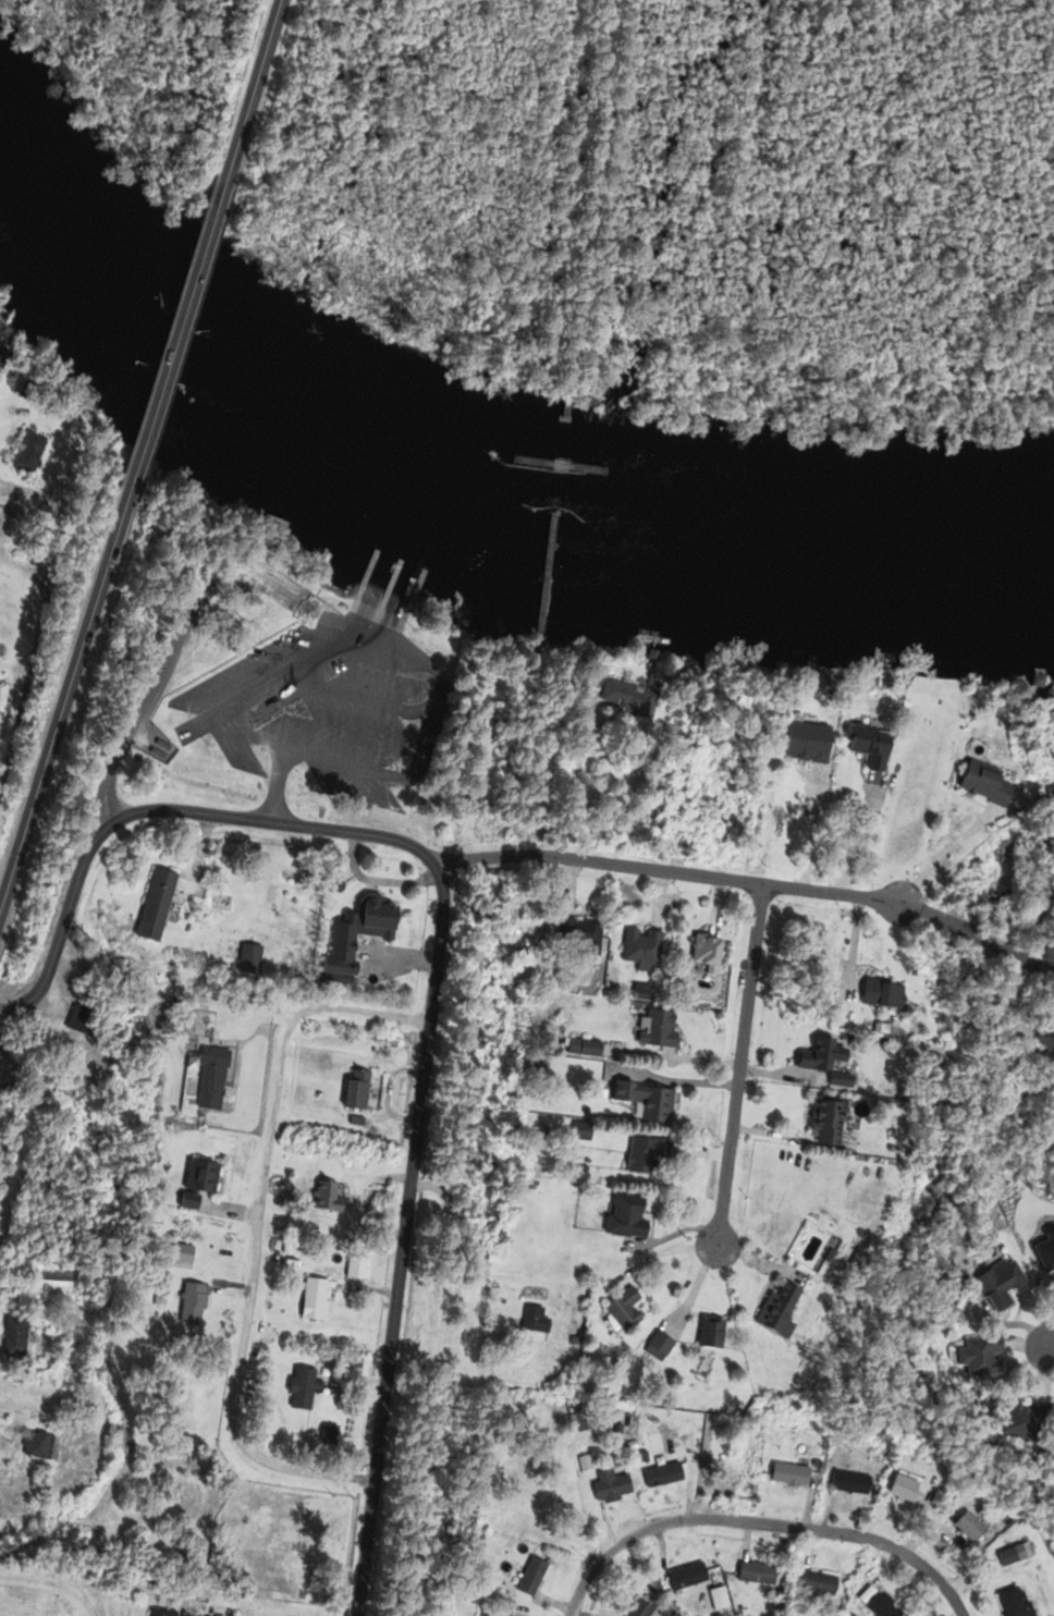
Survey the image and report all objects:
road: (249, 90)
road: (197, 262)
road: (148, 421)
building: (24, 451)
river: (465, 498)
river: (1049, 562)
road: (26, 673)
building: (1, 690)
building: (626, 699)
road: (62, 701)
building: (805, 742)
building: (865, 746)
building: (981, 781)
road: (161, 809)
road: (809, 833)
road: (860, 838)
road: (751, 883)
building: (151, 906)
building: (577, 934)
building: (353, 936)
building: (639, 947)
building: (702, 953)
building: (246, 959)
building: (880, 995)
building: (657, 1029)
building: (1044, 1045)
building: (583, 1048)
building: (821, 1056)
road: (738, 1065)
building: (208, 1079)
building: (353, 1090)
building: (644, 1101)
building: (822, 1121)
building: (644, 1154)
building: (198, 1178)
building: (326, 1196)
building: (624, 1216)
road: (256, 1226)
road: (673, 1235)
road: (401, 1244)
road: (662, 1257)
road: (750, 1260)
building: (353, 1268)
building: (48, 1282)
building: (995, 1283)
road: (693, 1291)
building: (310, 1299)
building: (194, 1301)
building: (622, 1310)
building: (774, 1311)
building: (532, 1320)
building: (708, 1334)
building: (12, 1338)
road: (1050, 1343)
building: (657, 1345)
building: (977, 1357)
building: (299, 1388)
building: (1020, 1419)
building: (35, 1445)
building: (587, 1457)
building: (663, 1474)
building: (785, 1476)
building: (610, 1486)
building: (900, 1489)
road: (760, 1523)
building: (965, 1528)
building: (1009, 1555)
building: (753, 1574)
road: (33, 1575)
building: (684, 1577)
building: (527, 1578)
building: (814, 1584)
road: (82, 1596)
building: (1010, 1603)
building: (872, 1604)
building: (637, 1609)
building: (157, 1614)

